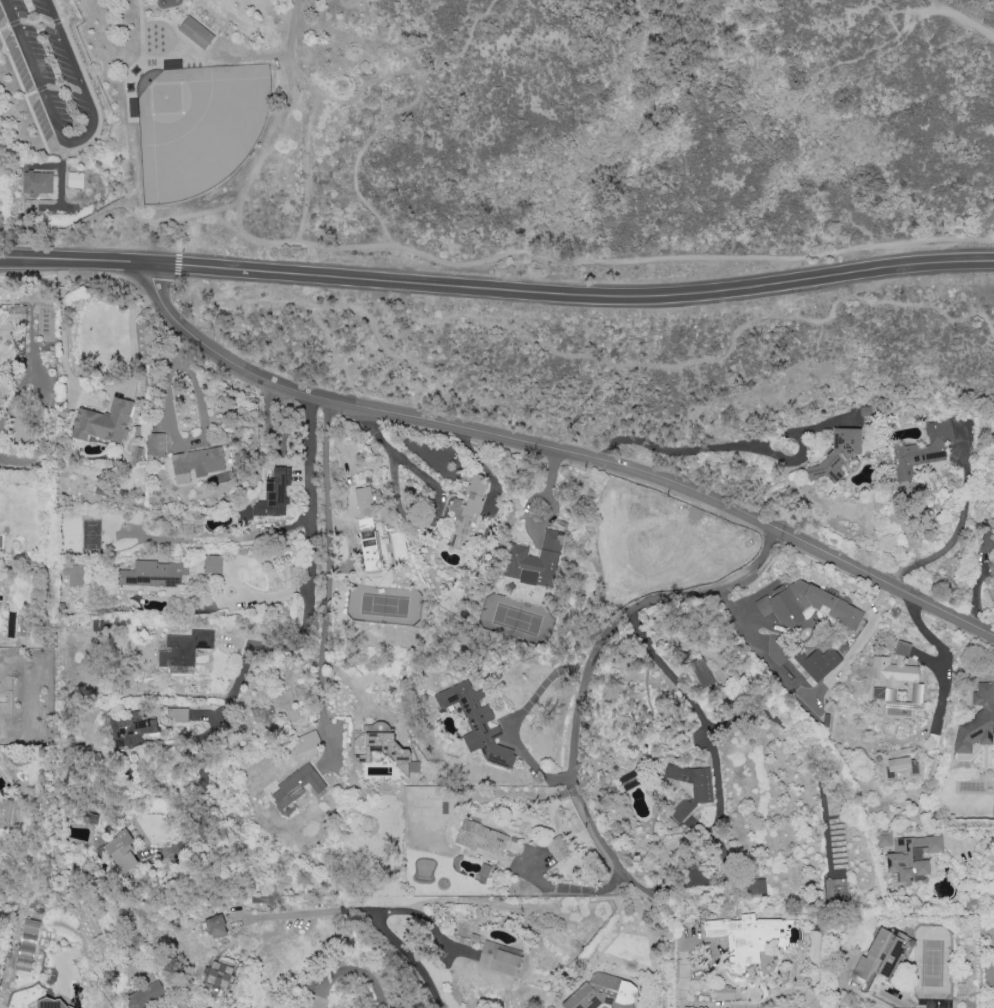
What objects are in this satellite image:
road: (982, 3)
road: (933, 4)
road: (926, 5)
road: (724, 9)
road: (68, 12)
road: (36, 20)
road: (56, 20)
road: (14, 22)
road: (4, 26)
building: (195, 31)
road: (180, 39)
road: (234, 55)
road: (141, 61)
parking lot: (47, 70)
road: (65, 85)
road: (810, 85)
road: (41, 87)
road: (357, 90)
road: (30, 93)
road: (277, 116)
road: (395, 121)
road: (17, 126)
park: (198, 127)
road: (126, 134)
park: (504, 139)
road: (71, 142)
road: (81, 145)
road: (59, 168)
road: (305, 169)
road: (130, 170)
building: (74, 179)
building: (36, 181)
road: (59, 187)
road: (192, 213)
road: (131, 214)
road: (218, 218)
road: (984, 225)
road: (64, 229)
road: (160, 229)
road: (210, 231)
road: (186, 245)
road: (153, 259)
road: (606, 262)
road: (651, 299)
building: (17, 313)
road: (86, 383)
building: (103, 421)
road: (178, 440)
building: (154, 444)
road: (733, 445)
road: (552, 450)
building: (921, 452)
building: (836, 454)
building: (196, 462)
building: (273, 493)
road: (551, 495)
road: (438, 505)
building: (366, 528)
road: (953, 531)
building: (985, 539)
building: (535, 560)
building: (212, 563)
road: (326, 567)
building: (73, 573)
building: (153, 573)
road: (259, 594)
building: (807, 605)
road: (857, 640)
road: (289, 646)
building: (902, 647)
building: (183, 650)
road: (946, 656)
road: (590, 660)
building: (817, 662)
building: (896, 682)
road: (687, 695)
building: (177, 713)
road: (518, 720)
building: (976, 720)
building: (475, 722)
building: (130, 728)
building: (305, 741)
building: (381, 746)
building: (900, 766)
building: (630, 779)
building: (296, 786)
building: (701, 790)
building: (5, 811)
building: (480, 837)
building: (883, 838)
building: (557, 847)
building: (120, 851)
building: (912, 856)
building: (757, 886)
road: (565, 888)
road: (428, 921)
road: (379, 925)
building: (215, 926)
building: (750, 940)
building: (26, 945)
building: (879, 954)
building: (498, 959)
road: (350, 970)
building: (219, 972)
road: (838, 981)
building: (602, 992)
building: (724, 992)
building: (143, 996)
building: (57, 1005)
road: (722, 1007)

